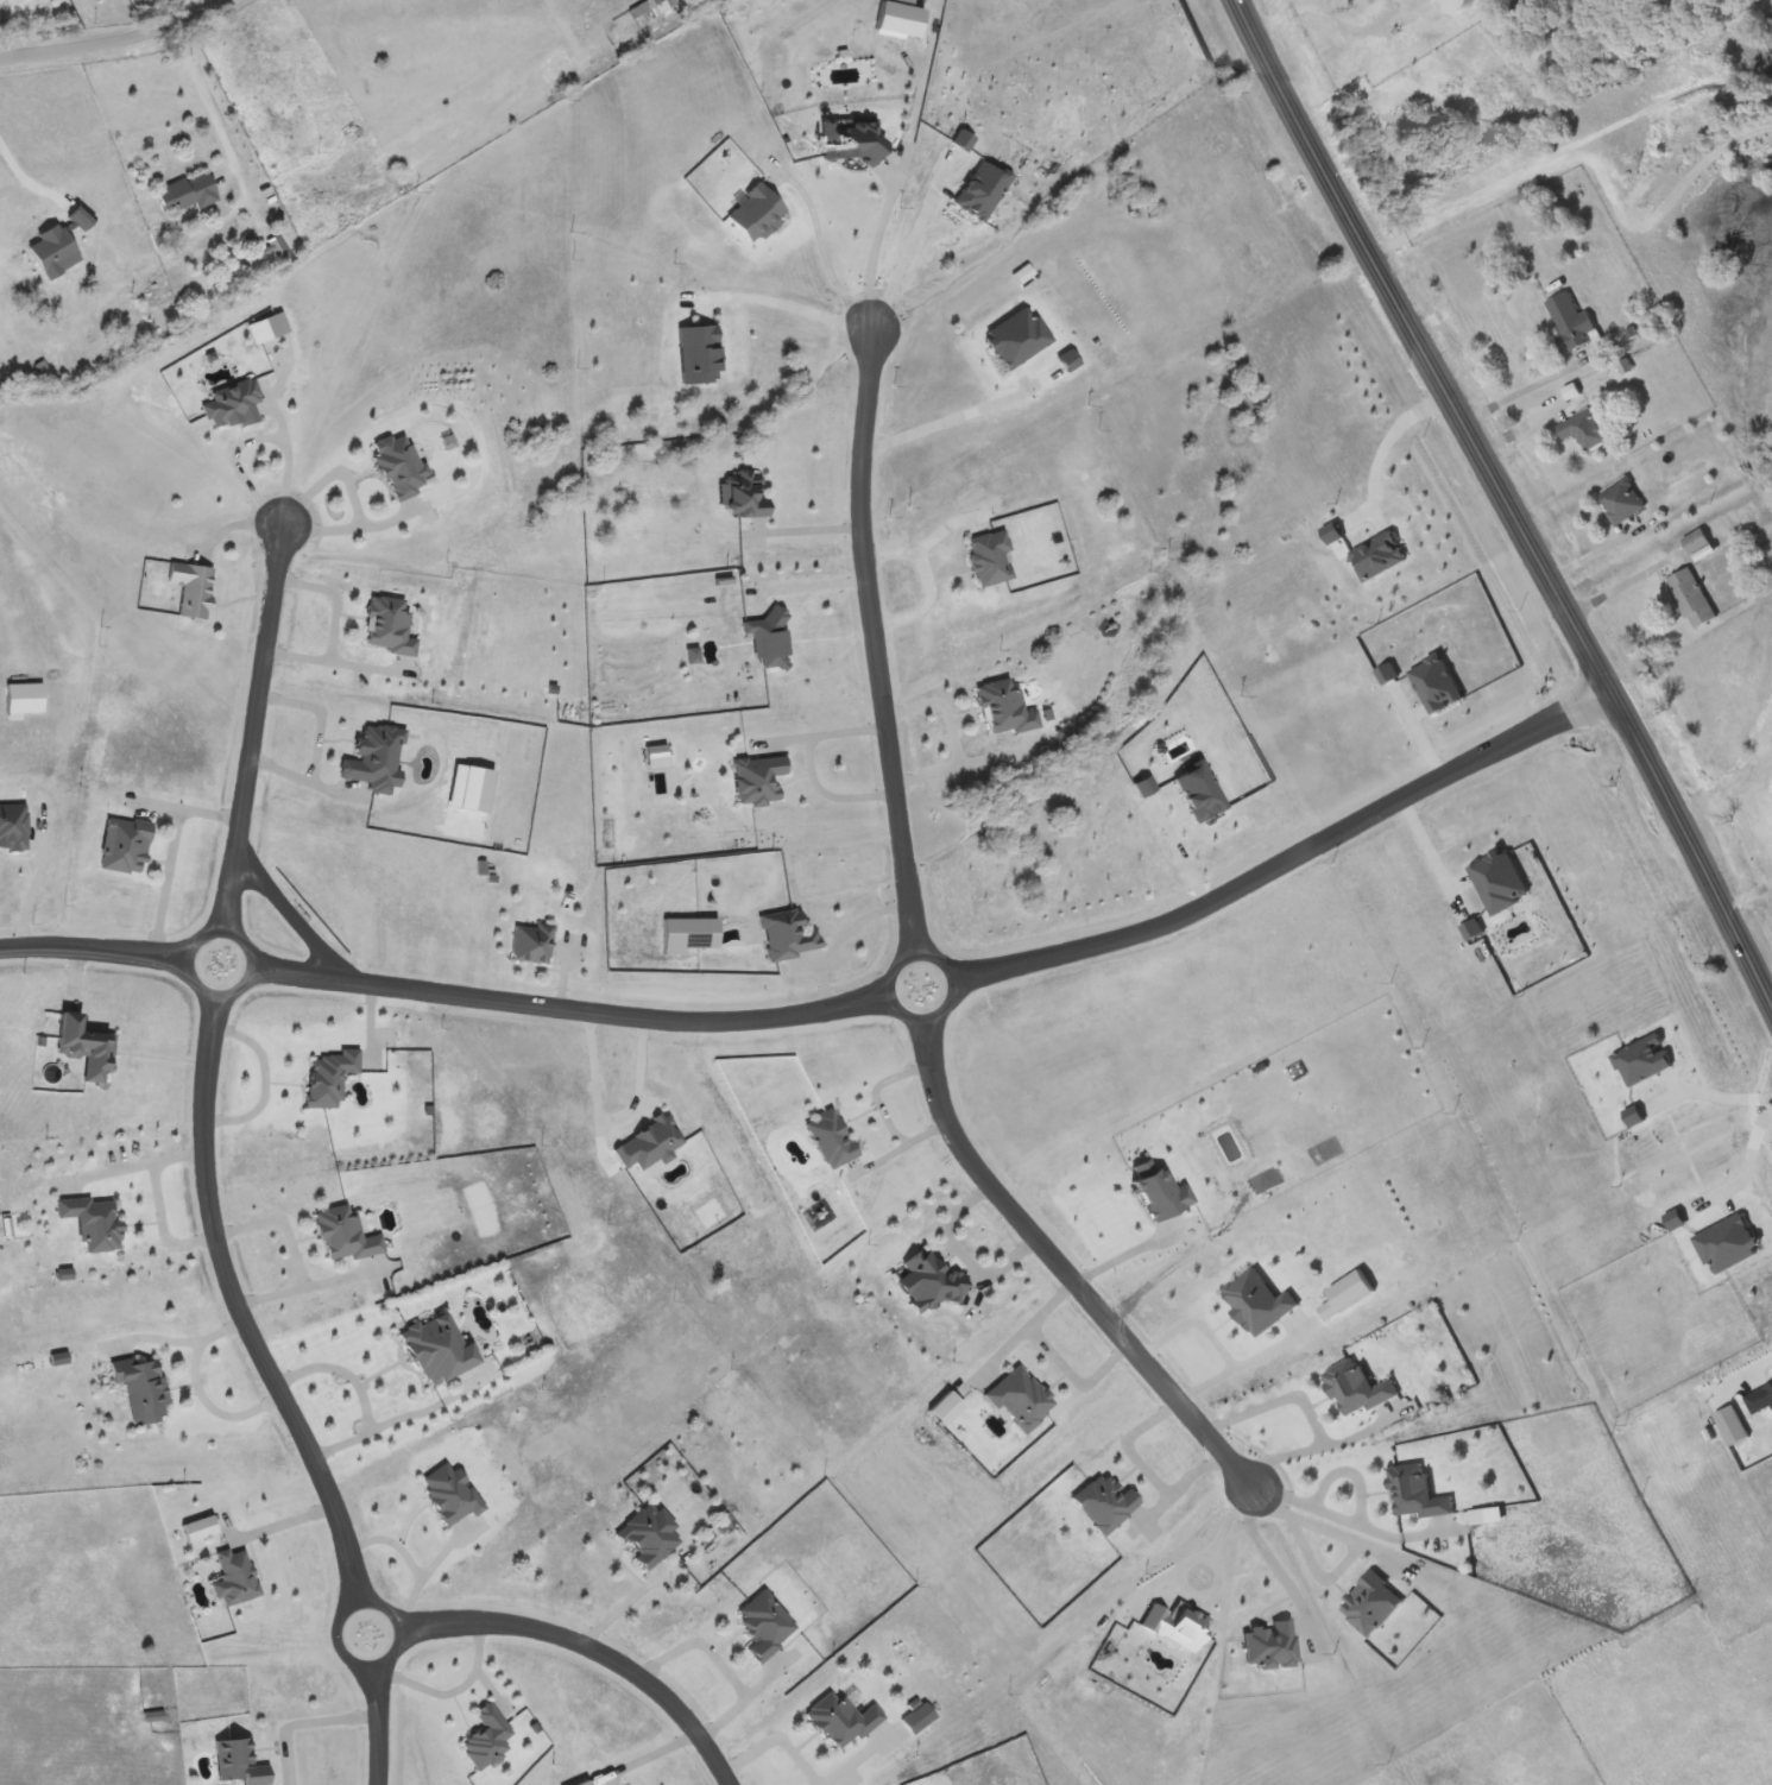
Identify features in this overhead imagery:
building: (1549, 1)
building: (1456, 7)
building: (639, 11)
road: (108, 51)
building: (188, 194)
building: (260, 231)
road: (820, 250)
road: (888, 250)
building: (278, 251)
road: (786, 305)
building: (1571, 322)
building: (1585, 427)
building: (743, 493)
building: (1621, 500)
road: (1506, 507)
building: (1696, 542)
building: (191, 588)
building: (1691, 598)
road: (876, 645)
road: (254, 726)
road: (827, 734)
road: (830, 793)
road: (1291, 862)
road: (290, 914)
building: (531, 942)
road: (246, 946)
road: (93, 952)
road: (959, 979)
road: (574, 1009)
building: (86, 1048)
building: (93, 1223)
road: (1062, 1274)
road: (242, 1307)
road: (1749, 1387)
building: (143, 1390)
road: (209, 1395)
road: (372, 1400)
building: (648, 1535)
road: (1259, 1549)
building: (235, 1579)
road: (385, 1608)
road: (595, 1647)
road: (310, 1726)
road: (379, 1726)
building: (239, 1762)

